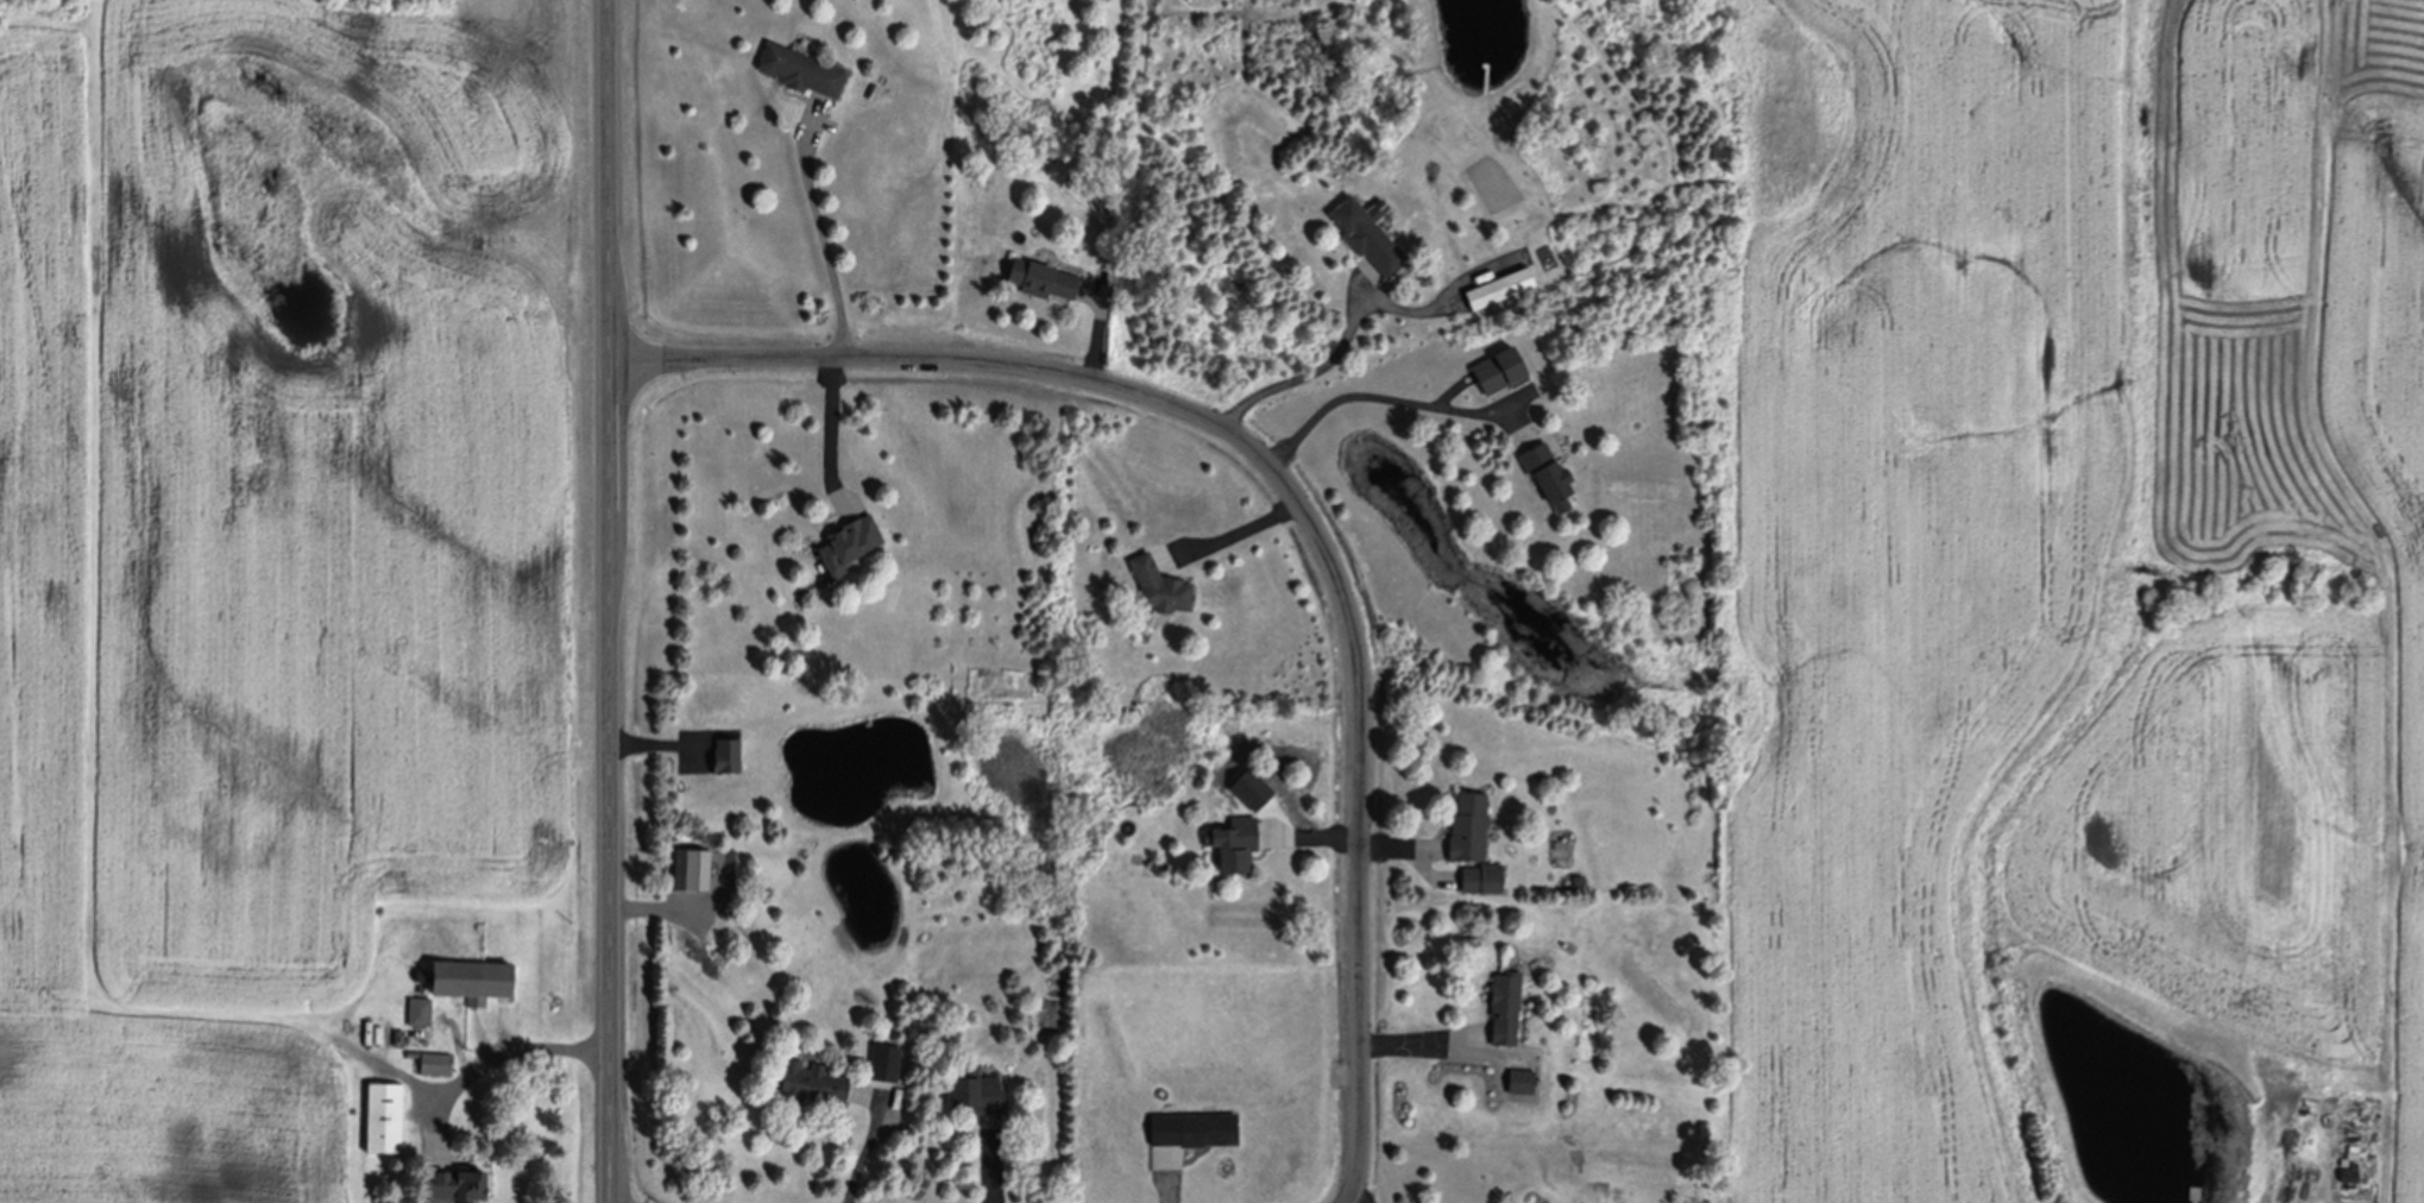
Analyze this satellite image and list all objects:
building: (802, 75)
building: (1100, 204)
building: (1368, 241)
road: (829, 251)
building: (1044, 284)
building: (1500, 294)
road: (1299, 374)
building: (1499, 376)
road: (1342, 395)
road: (831, 426)
building: (1526, 434)
building: (1549, 478)
road: (1292, 499)
road: (1229, 533)
building: (848, 536)
building: (1160, 578)
road: (611, 600)
building: (728, 750)
building: (1469, 821)
building: (1235, 837)
building: (1482, 874)
building: (1579, 877)
building: (470, 971)
building: (1506, 1004)
building: (421, 1008)
building: (399, 1033)
road: (1446, 1046)
road: (509, 1052)
building: (886, 1058)
building: (436, 1059)
building: (812, 1079)
building: (1523, 1079)
building: (978, 1088)
building: (385, 1111)
building: (1195, 1126)
road: (867, 1138)
building: (2393, 1138)
building: (2353, 1139)
building: (2349, 1170)
building: (457, 1177)
road: (1359, 1197)

